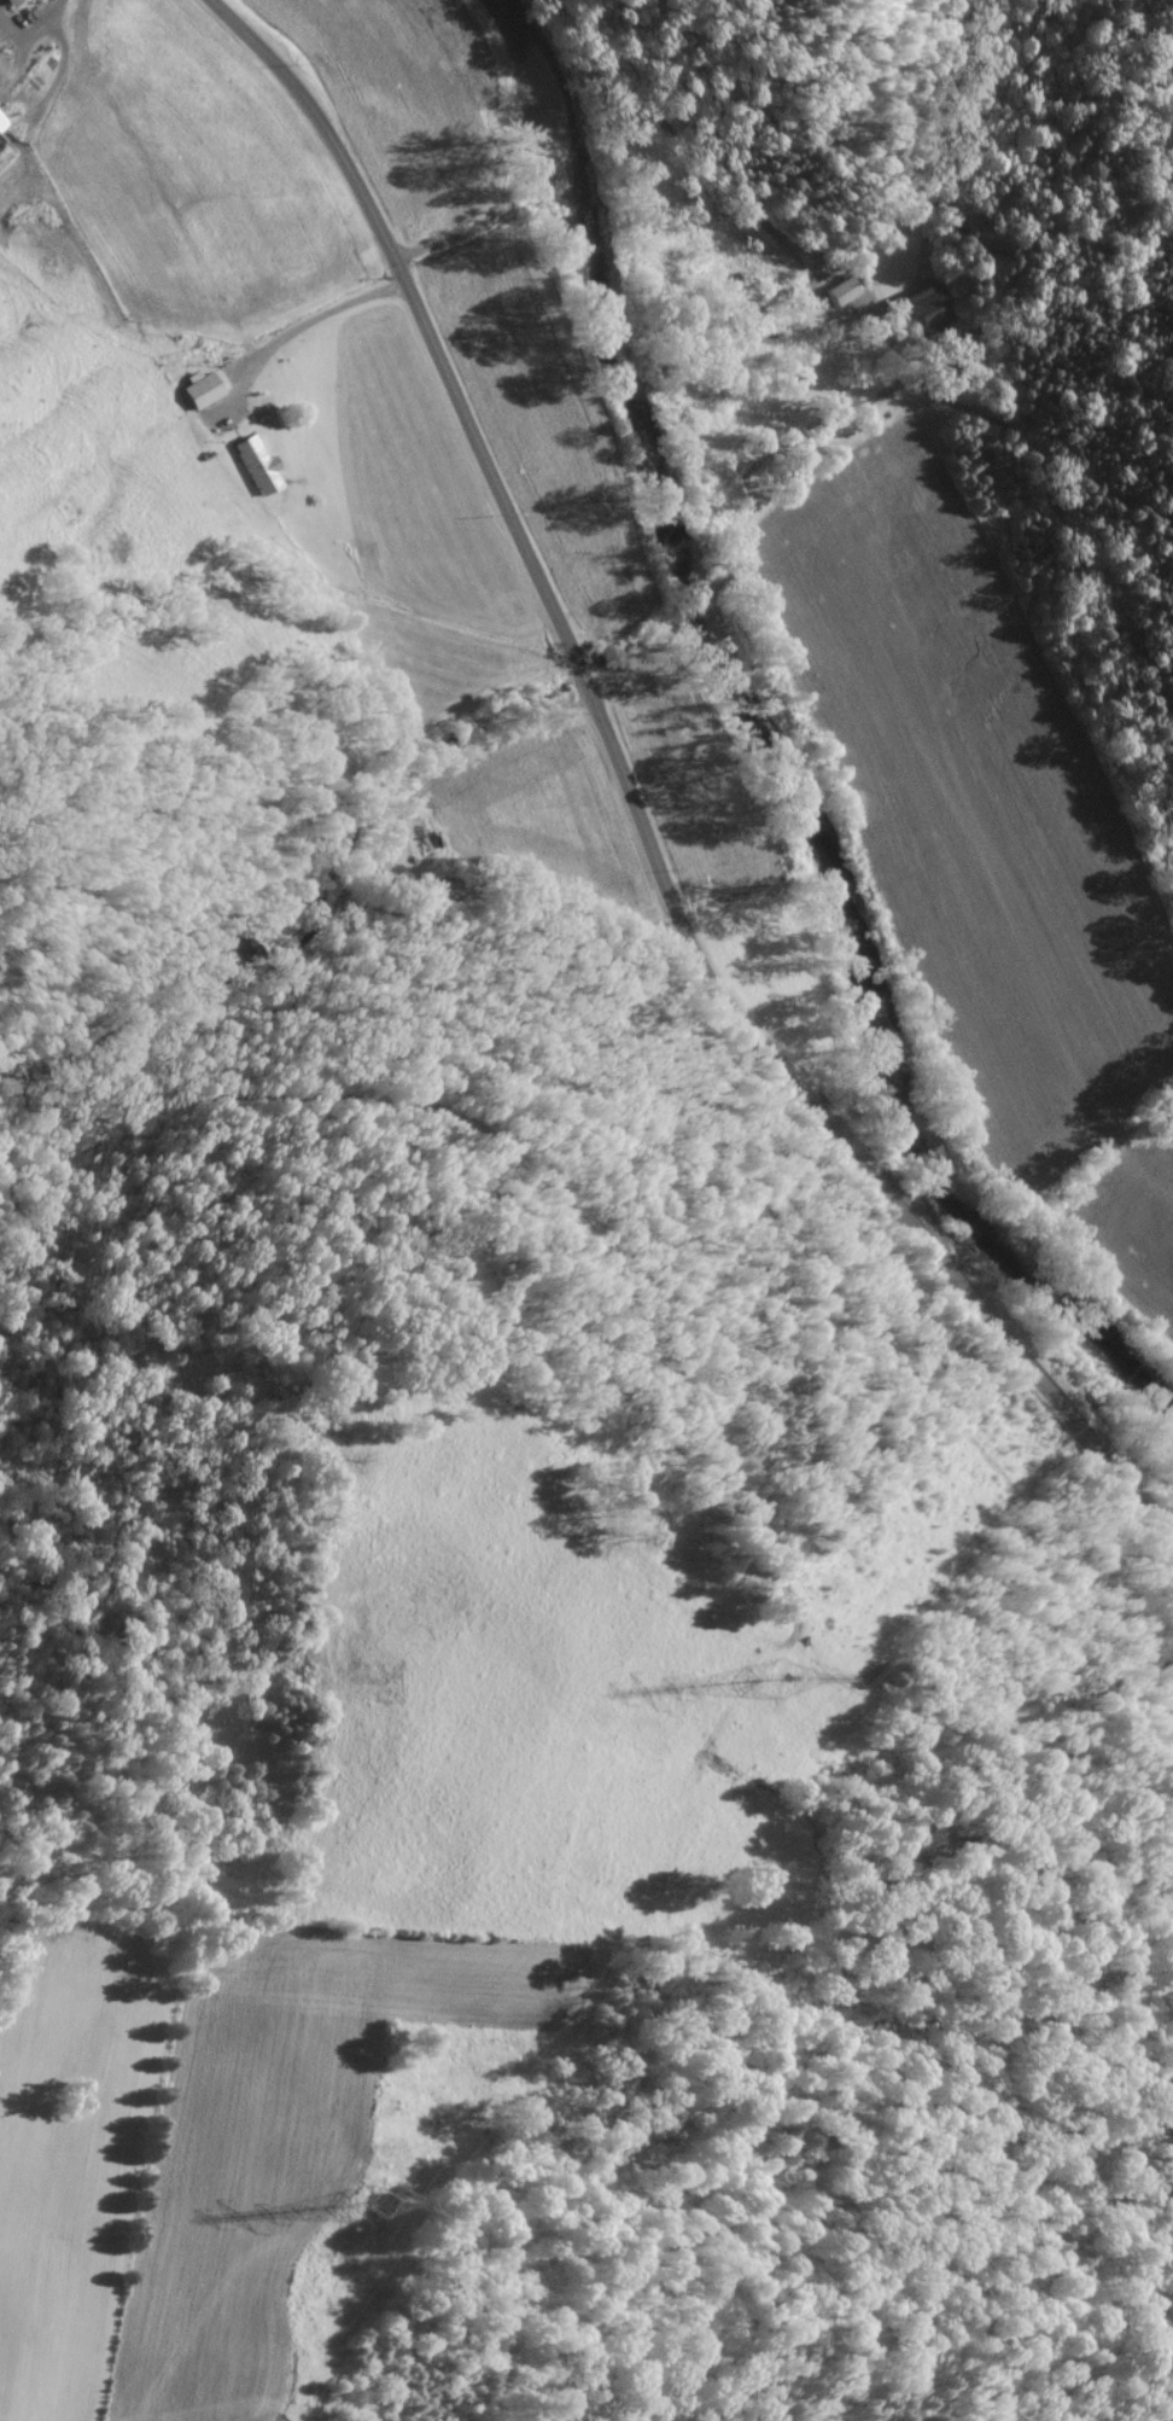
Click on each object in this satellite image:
building: (10, 2)
building: (4, 72)
building: (1, 128)
road: (623, 159)
building: (839, 292)
building: (926, 308)
road: (299, 328)
building: (200, 390)
building: (255, 466)
road: (489, 750)
road: (632, 811)
power tower: (783, 1681)
power tower: (378, 2207)

